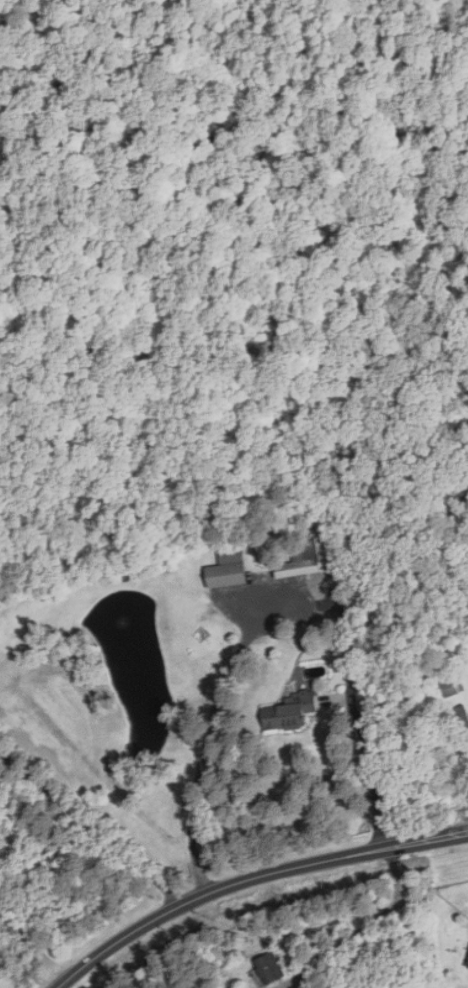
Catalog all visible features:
building: (311, 556)
building: (228, 570)
building: (448, 684)
road: (215, 711)
building: (290, 711)
road: (361, 726)
road: (427, 838)
road: (212, 892)
road: (363, 928)
building: (270, 967)
building: (249, 987)

